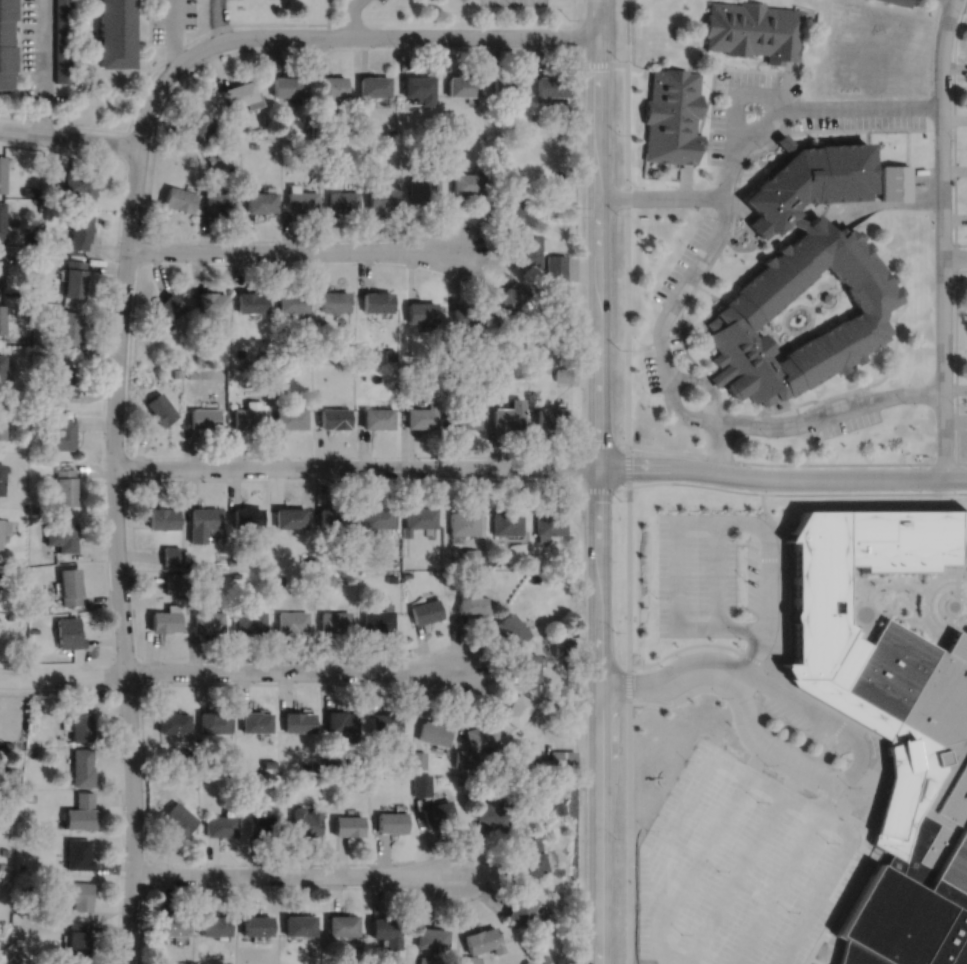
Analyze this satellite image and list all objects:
parking lot: (363, 1)
parking lot: (380, 1)
parking lot: (512, 2)
building: (900, 2)
road: (936, 9)
road: (140, 10)
parking lot: (217, 12)
road: (351, 17)
parking lot: (171, 19)
road: (150, 21)
road: (215, 21)
building: (751, 29)
road: (211, 30)
building: (113, 32)
road: (172, 33)
road: (337, 36)
road: (701, 38)
road: (140, 39)
building: (61, 40)
building: (5, 42)
road: (625, 46)
parking lot: (39, 52)
road: (21, 58)
road: (756, 59)
road: (686, 66)
road: (43, 67)
road: (749, 68)
parking lot: (746, 77)
road: (785, 80)
building: (549, 84)
building: (286, 85)
building: (373, 85)
building: (463, 85)
building: (505, 85)
building: (419, 87)
building: (328, 89)
road: (735, 92)
building: (241, 94)
road: (712, 108)
building: (671, 115)
parking lot: (860, 119)
road: (63, 122)
building: (533, 125)
building: (196, 127)
road: (954, 127)
building: (315, 128)
building: (435, 130)
parking lot: (719, 132)
building: (366, 135)
road: (69, 137)
road: (865, 140)
road: (704, 143)
building: (253, 145)
building: (291, 145)
building: (326, 145)
building: (365, 145)
building: (421, 147)
building: (270, 148)
building: (210, 158)
road: (760, 164)
road: (869, 166)
building: (2, 173)
road: (684, 180)
road: (735, 182)
building: (894, 182)
building: (466, 183)
building: (78, 186)
building: (421, 187)
building: (28, 191)
building: (53, 196)
road: (660, 196)
building: (380, 198)
building: (177, 199)
building: (299, 199)
building: (259, 201)
building: (341, 201)
building: (216, 202)
building: (508, 203)
road: (880, 203)
road: (724, 204)
road: (742, 209)
building: (2, 220)
building: (78, 229)
road: (739, 229)
road: (748, 230)
road: (942, 237)
road: (747, 248)
road: (292, 250)
building: (529, 250)
road: (954, 256)
road: (956, 256)
parking lot: (684, 259)
road: (627, 264)
road: (482, 266)
building: (554, 267)
building: (0, 269)
road: (113, 270)
building: (800, 275)
building: (72, 278)
road: (837, 289)
road: (826, 290)
road: (904, 290)
road: (710, 292)
building: (508, 297)
building: (825, 297)
building: (333, 301)
building: (208, 302)
building: (249, 302)
building: (291, 302)
building: (376, 302)
road: (802, 304)
building: (40, 307)
building: (165, 309)
building: (419, 312)
park: (804, 313)
road: (701, 315)
building: (466, 317)
building: (1, 318)
building: (321, 322)
building: (67, 329)
road: (772, 337)
parking lot: (676, 344)
building: (281, 353)
building: (261, 354)
building: (389, 354)
building: (450, 356)
building: (195, 359)
road: (956, 360)
parking lot: (651, 366)
building: (446, 369)
building: (1, 371)
building: (175, 372)
building: (191, 373)
building: (562, 375)
building: (497, 377)
building: (60, 379)
building: (260, 379)
road: (704, 381)
road: (711, 381)
building: (317, 392)
road: (822, 398)
road: (794, 404)
road: (771, 406)
road: (786, 406)
building: (158, 410)
building: (247, 416)
building: (508, 416)
building: (419, 417)
building: (289, 418)
building: (375, 418)
building: (462, 418)
building: (549, 418)
building: (202, 419)
building: (333, 419)
road: (809, 420)
building: (2, 422)
parking lot: (850, 422)
building: (59, 433)
road: (771, 463)
road: (540, 466)
building: (1, 474)
road: (599, 481)
road: (126, 482)
road: (603, 482)
building: (64, 485)
road: (864, 492)
building: (32, 507)
building: (161, 515)
building: (246, 515)
building: (290, 515)
building: (333, 515)
building: (377, 515)
road: (766, 515)
building: (418, 517)
building: (508, 520)
building: (201, 521)
building: (463, 521)
building: (550, 521)
building: (4, 523)
building: (61, 534)
building: (3, 535)
building: (169, 553)
building: (966, 553)
road: (118, 554)
building: (470, 556)
building: (230, 560)
building: (350, 561)
building: (393, 561)
building: (535, 561)
building: (190, 562)
building: (20, 569)
building: (190, 572)
building: (235, 573)
building: (450, 573)
road: (717, 573)
building: (407, 574)
building: (571, 574)
parking lot: (716, 574)
road: (939, 574)
road: (895, 575)
building: (324, 577)
building: (391, 577)
building: (279, 578)
road: (956, 580)
building: (173, 582)
building: (69, 584)
road: (906, 585)
road: (866, 586)
road: (953, 589)
road: (919, 590)
park: (908, 596)
road: (930, 598)
road: (938, 601)
building: (474, 603)
road: (847, 606)
building: (426, 609)
road: (954, 611)
road: (897, 613)
building: (9, 615)
building: (378, 616)
building: (164, 617)
road: (946, 617)
building: (249, 619)
building: (334, 619)
building: (206, 620)
building: (292, 620)
road: (867, 621)
road: (762, 626)
building: (513, 627)
building: (33, 629)
road: (863, 629)
road: (934, 629)
building: (68, 631)
road: (936, 639)
road: (112, 643)
building: (562, 648)
road: (754, 649)
road: (760, 661)
building: (569, 663)
building: (529, 667)
road: (291, 671)
road: (63, 676)
road: (138, 683)
building: (517, 708)
building: (254, 720)
building: (297, 720)
building: (340, 720)
building: (80, 721)
building: (171, 721)
building: (212, 721)
parking lot: (801, 721)
building: (384, 722)
road: (629, 722)
building: (891, 725)
building: (434, 732)
building: (482, 736)
building: (7, 743)
building: (184, 752)
building: (417, 758)
building: (465, 758)
building: (560, 760)
building: (331, 761)
building: (267, 762)
road: (873, 762)
building: (313, 765)
building: (82, 766)
road: (120, 766)
building: (523, 766)
road: (856, 766)
building: (12, 771)
road: (743, 771)
building: (571, 777)
building: (232, 778)
building: (373, 778)
building: (313, 779)
road: (877, 781)
road: (856, 783)
building: (421, 784)
road: (811, 784)
building: (30, 796)
road: (828, 796)
building: (559, 808)
building: (80, 811)
building: (437, 812)
building: (493, 814)
building: (177, 817)
building: (304, 821)
building: (391, 821)
building: (261, 824)
building: (219, 825)
building: (347, 825)
road: (705, 847)
building: (5, 851)
building: (78, 853)
road: (877, 853)
building: (531, 857)
road: (237, 863)
building: (2, 865)
building: (19, 865)
parking lot: (738, 867)
road: (296, 875)
road: (734, 879)
road: (775, 889)
building: (78, 894)
building: (16, 905)
building: (521, 908)
building: (171, 925)
building: (213, 925)
building: (256, 925)
building: (299, 925)
building: (342, 925)
building: (387, 930)
building: (433, 938)
building: (19, 940)
building: (483, 940)
building: (77, 941)
building: (357, 952)
building: (13, 958)
building: (544, 958)
building: (427, 959)
building: (468, 960)
road: (816, 960)
building: (528, 962)

